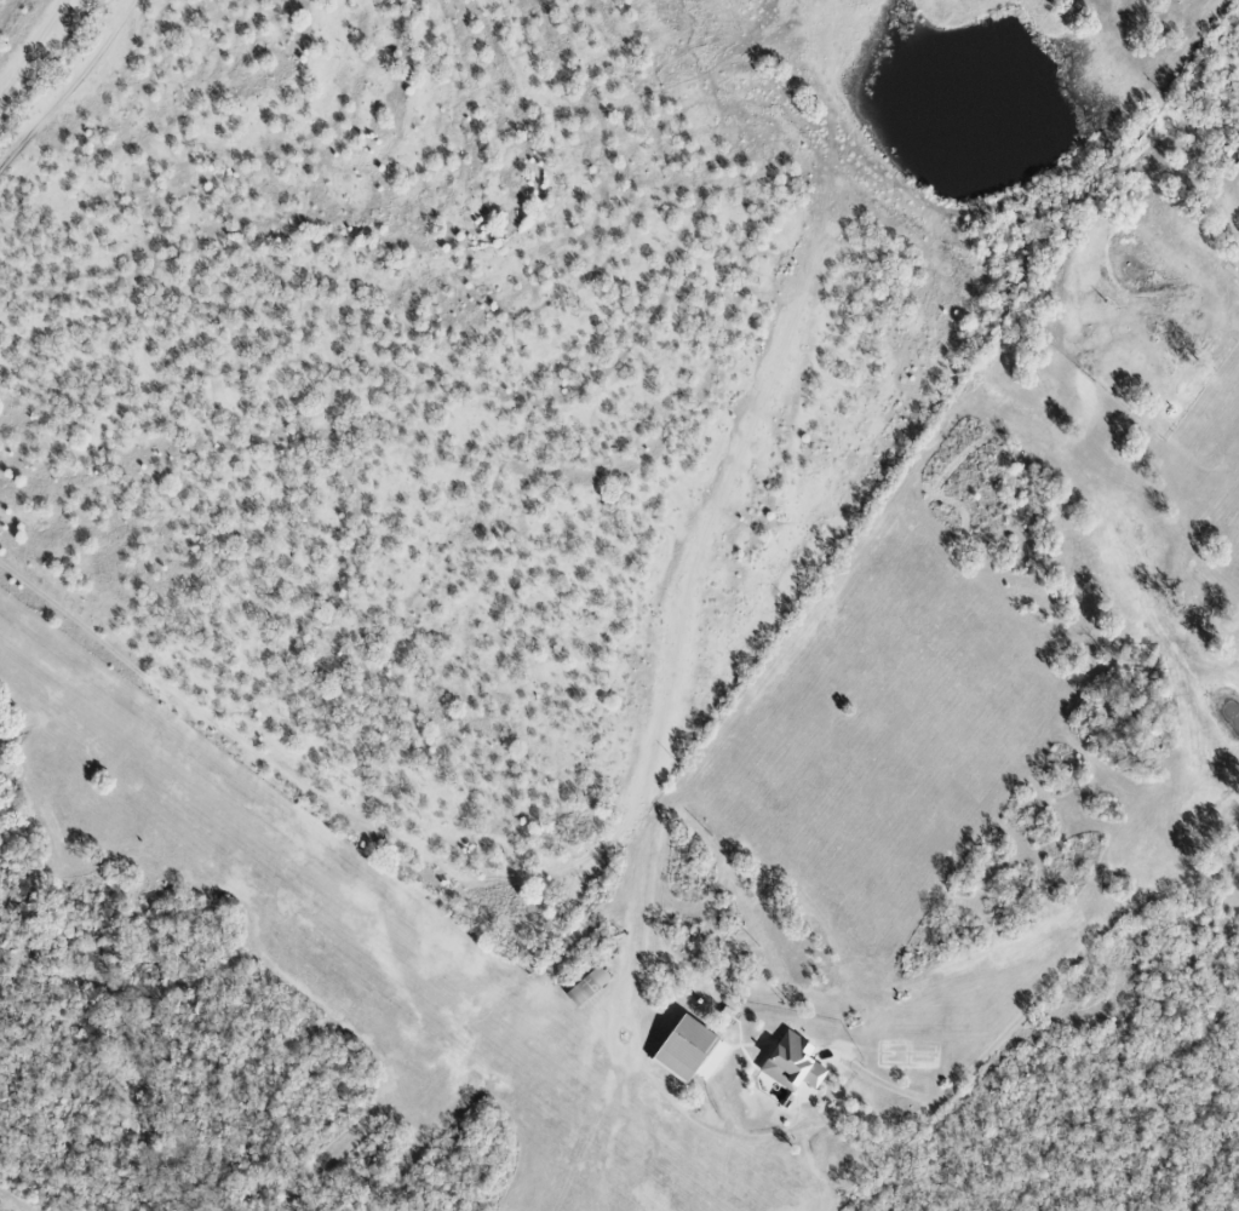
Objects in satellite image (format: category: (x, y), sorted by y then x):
road: (1038, 998)
building: (687, 1050)
building: (795, 1063)
building: (710, 1067)
road: (793, 1131)

